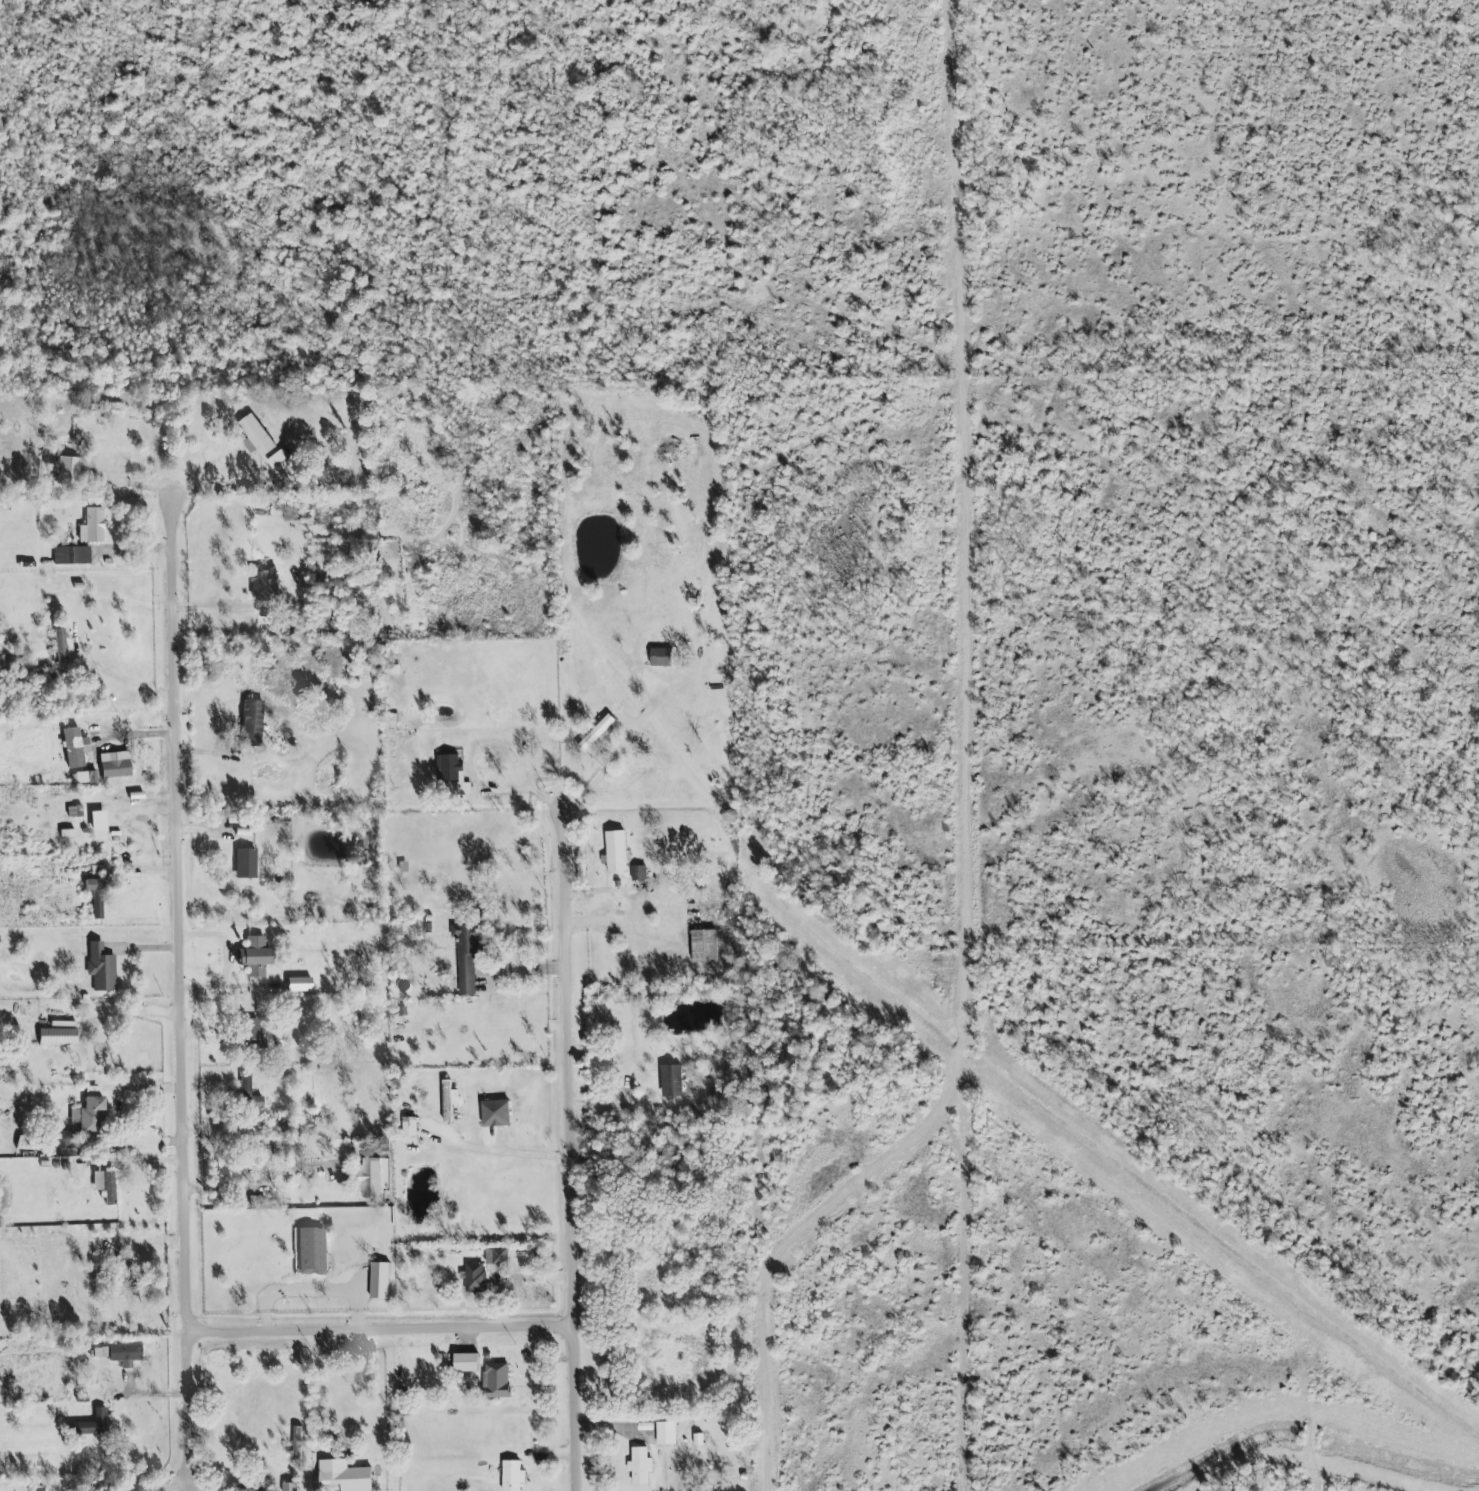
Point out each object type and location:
building: (110, 409)
building: (254, 435)
building: (277, 458)
building: (66, 469)
building: (91, 525)
building: (70, 553)
building: (263, 582)
road: (217, 606)
building: (59, 644)
building: (660, 656)
building: (249, 721)
building: (597, 733)
building: (73, 746)
road: (618, 759)
building: (113, 763)
building: (91, 776)
road: (973, 788)
building: (96, 820)
building: (615, 851)
building: (244, 862)
building: (638, 873)
building: (94, 896)
building: (703, 946)
building: (254, 956)
building: (465, 956)
building: (99, 967)
building: (298, 983)
road: (183, 993)
building: (252, 1029)
building: (55, 1034)
building: (670, 1081)
building: (448, 1099)
building: (88, 1114)
building: (495, 1114)
building: (408, 1126)
building: (64, 1144)
road: (573, 1153)
building: (227, 1174)
building: (370, 1178)
building: (103, 1184)
building: (309, 1250)
building: (495, 1257)
building: (474, 1278)
building: (377, 1280)
road: (383, 1332)
building: (124, 1352)
building: (465, 1362)
building: (100, 1379)
building: (496, 1380)
road: (326, 1395)
building: (94, 1422)
building: (665, 1433)
building: (296, 1443)
building: (639, 1466)
building: (344, 1476)
building: (511, 1476)

